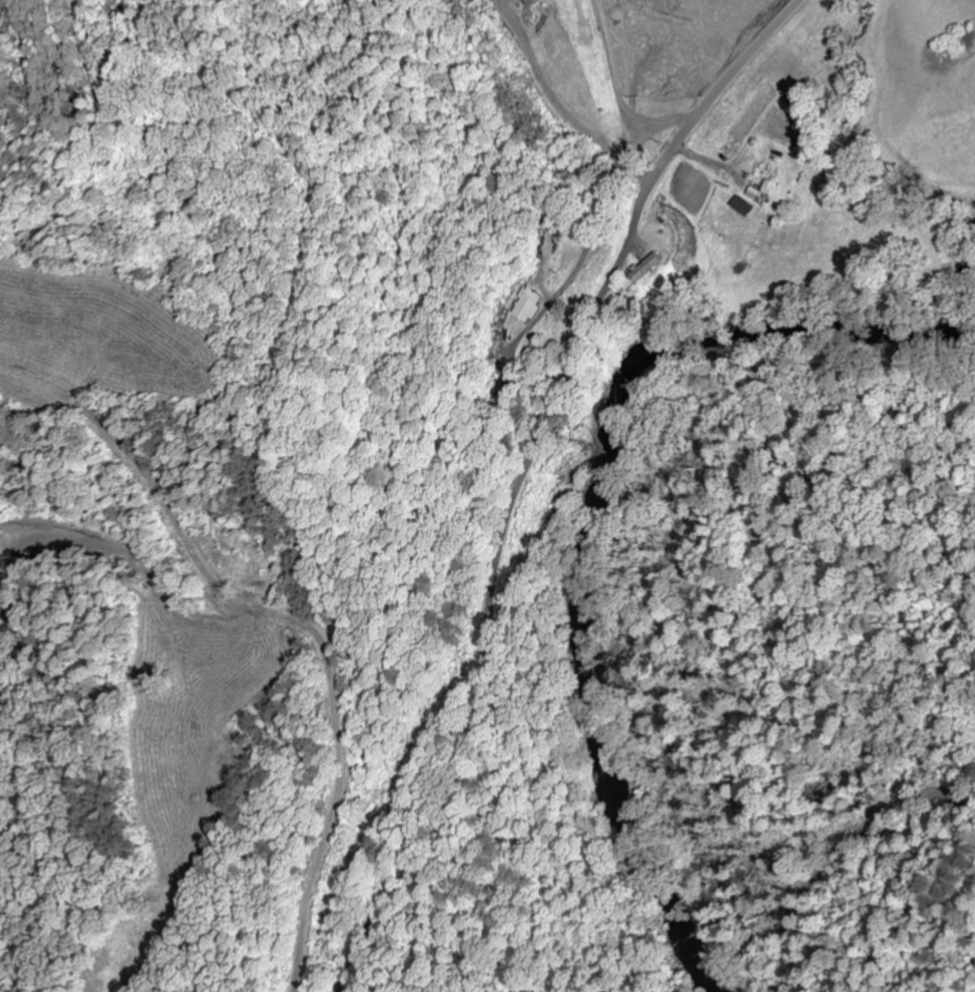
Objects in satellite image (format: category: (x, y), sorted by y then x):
building: (538, 3)
building: (762, 197)
building: (650, 268)
building: (527, 307)
road: (521, 476)

